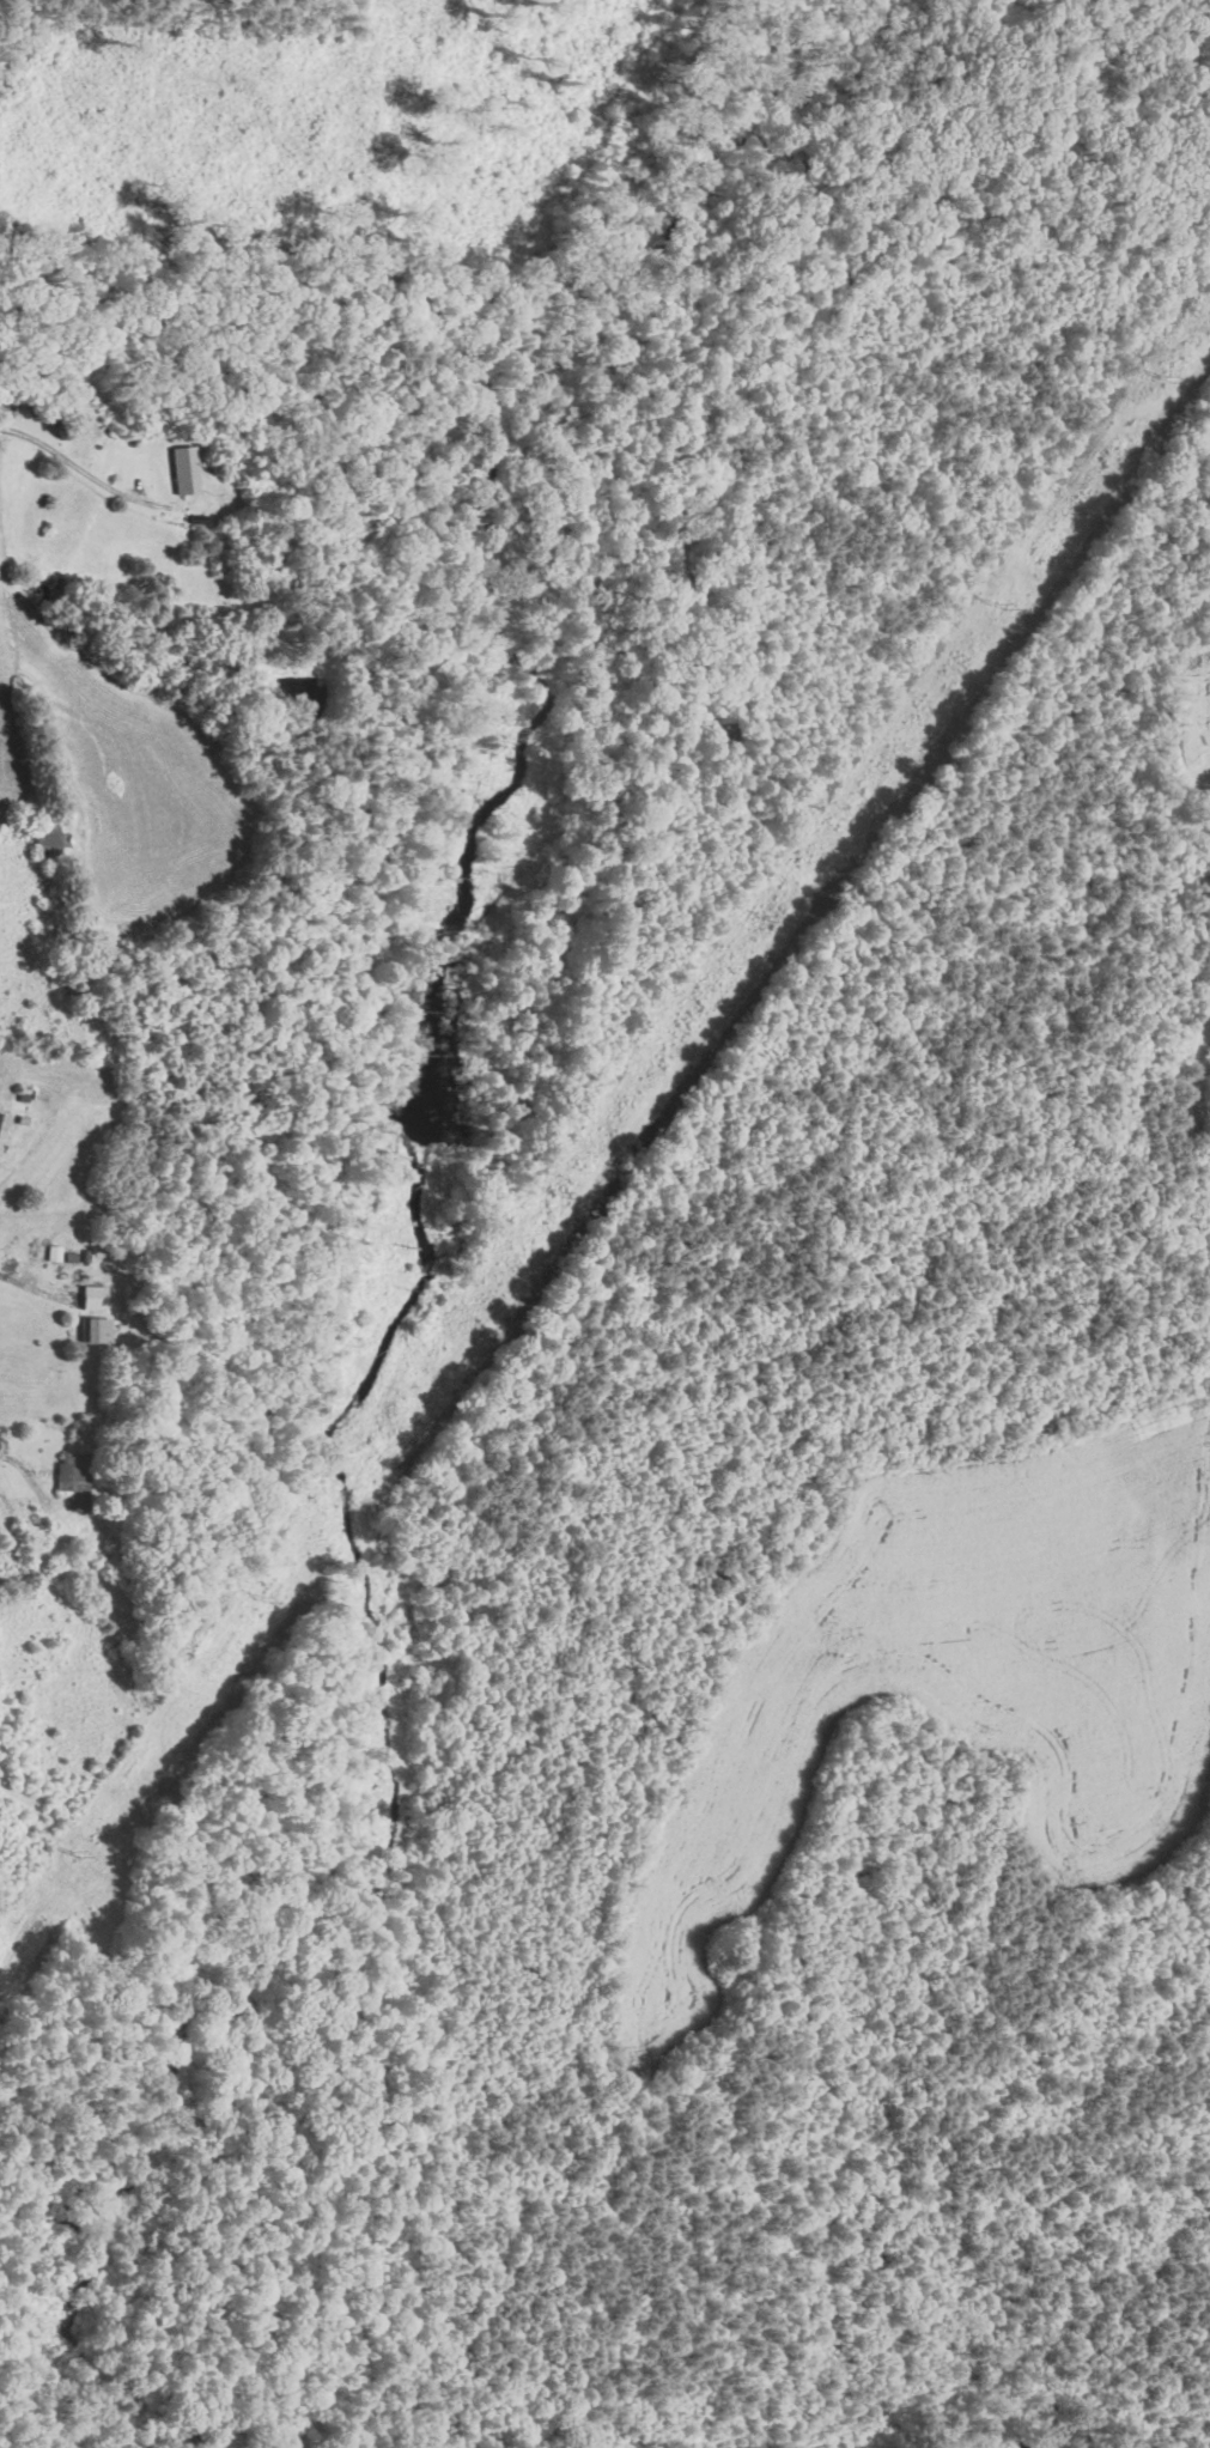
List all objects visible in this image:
road: (14, 34)
building: (181, 469)
road: (90, 470)
building: (47, 840)
road: (34, 1287)
building: (96, 1296)
building: (104, 1329)
road: (16, 1462)
building: (74, 1475)

